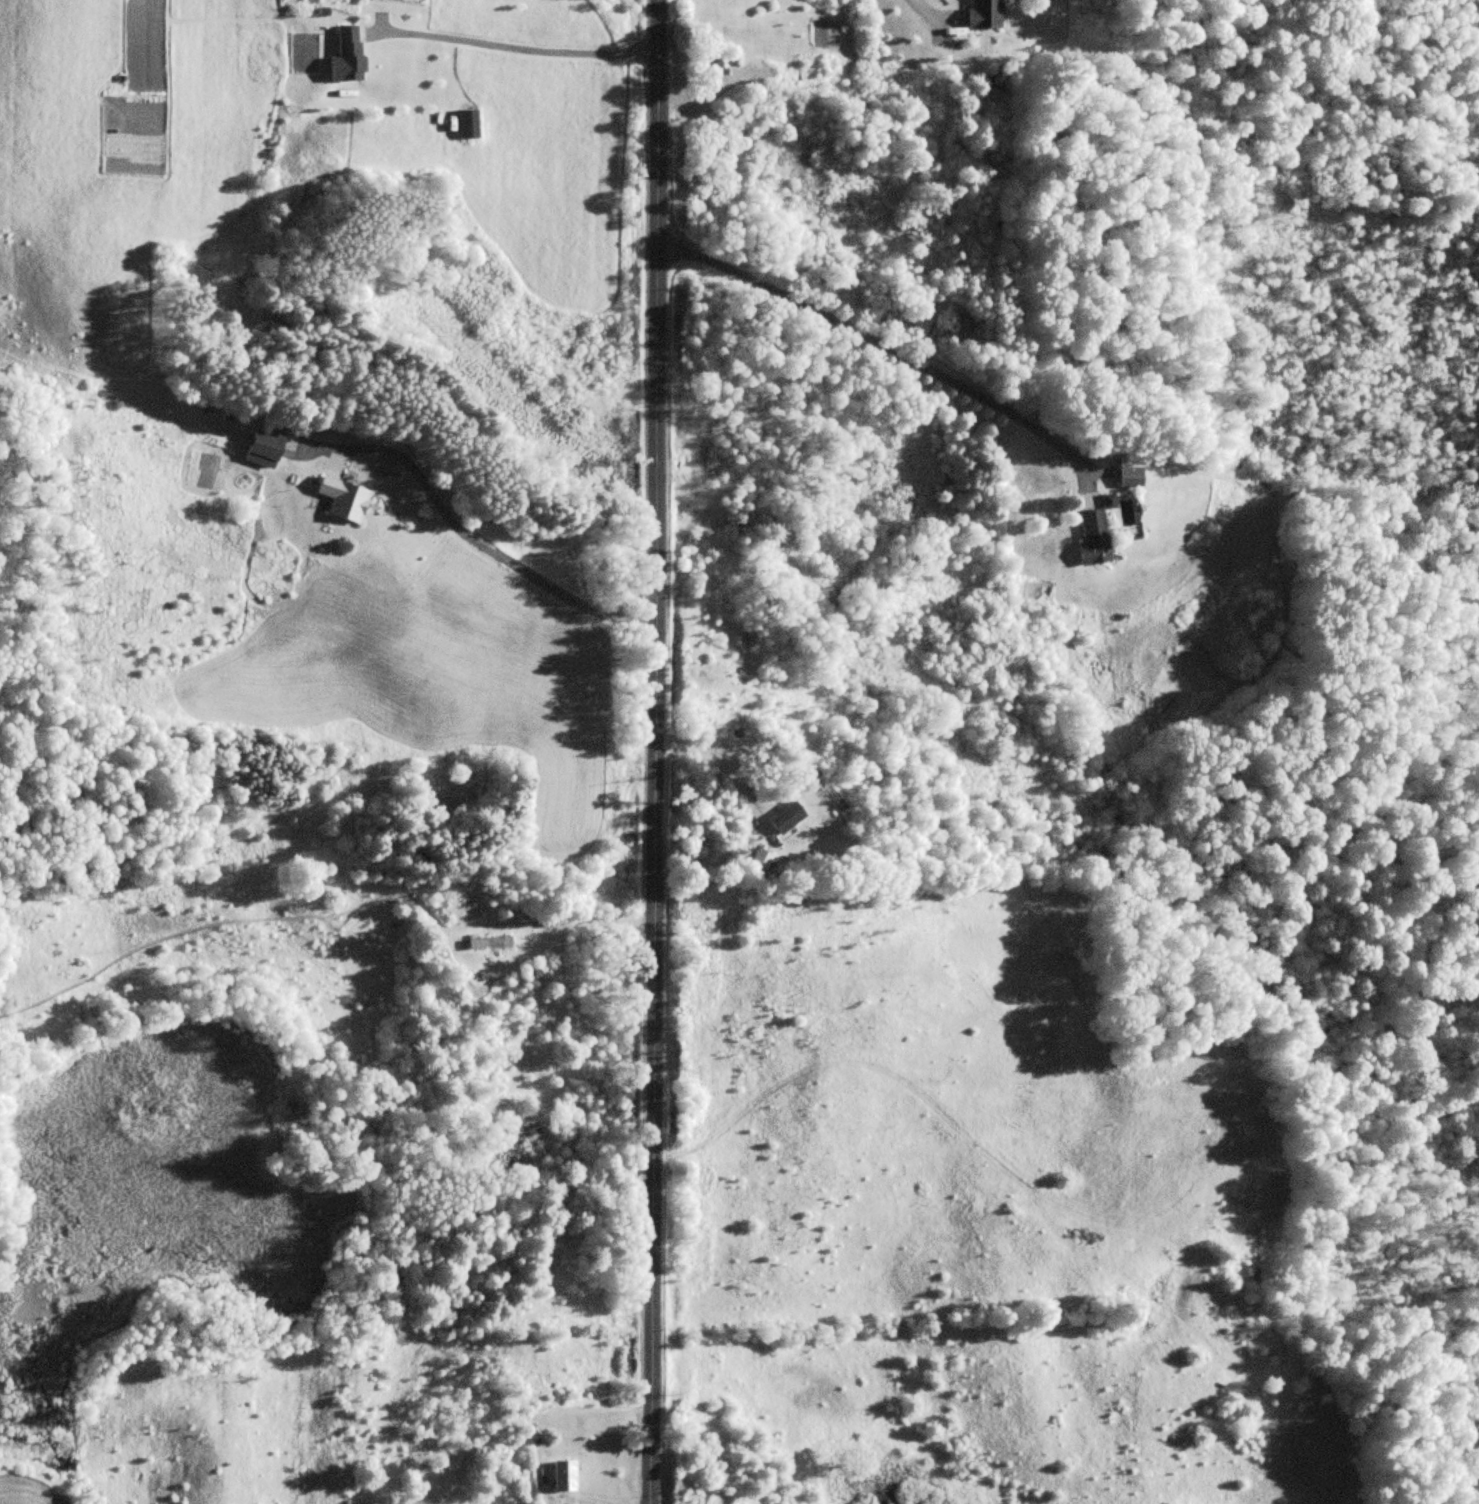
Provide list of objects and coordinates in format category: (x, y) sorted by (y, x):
building: (986, 13)
building: (352, 52)
building: (713, 65)
building: (470, 123)
road: (893, 350)
building: (265, 449)
building: (1132, 470)
building: (344, 498)
building: (1097, 532)
road: (654, 752)
building: (788, 818)
building: (762, 860)
building: (491, 942)
building: (565, 1476)

